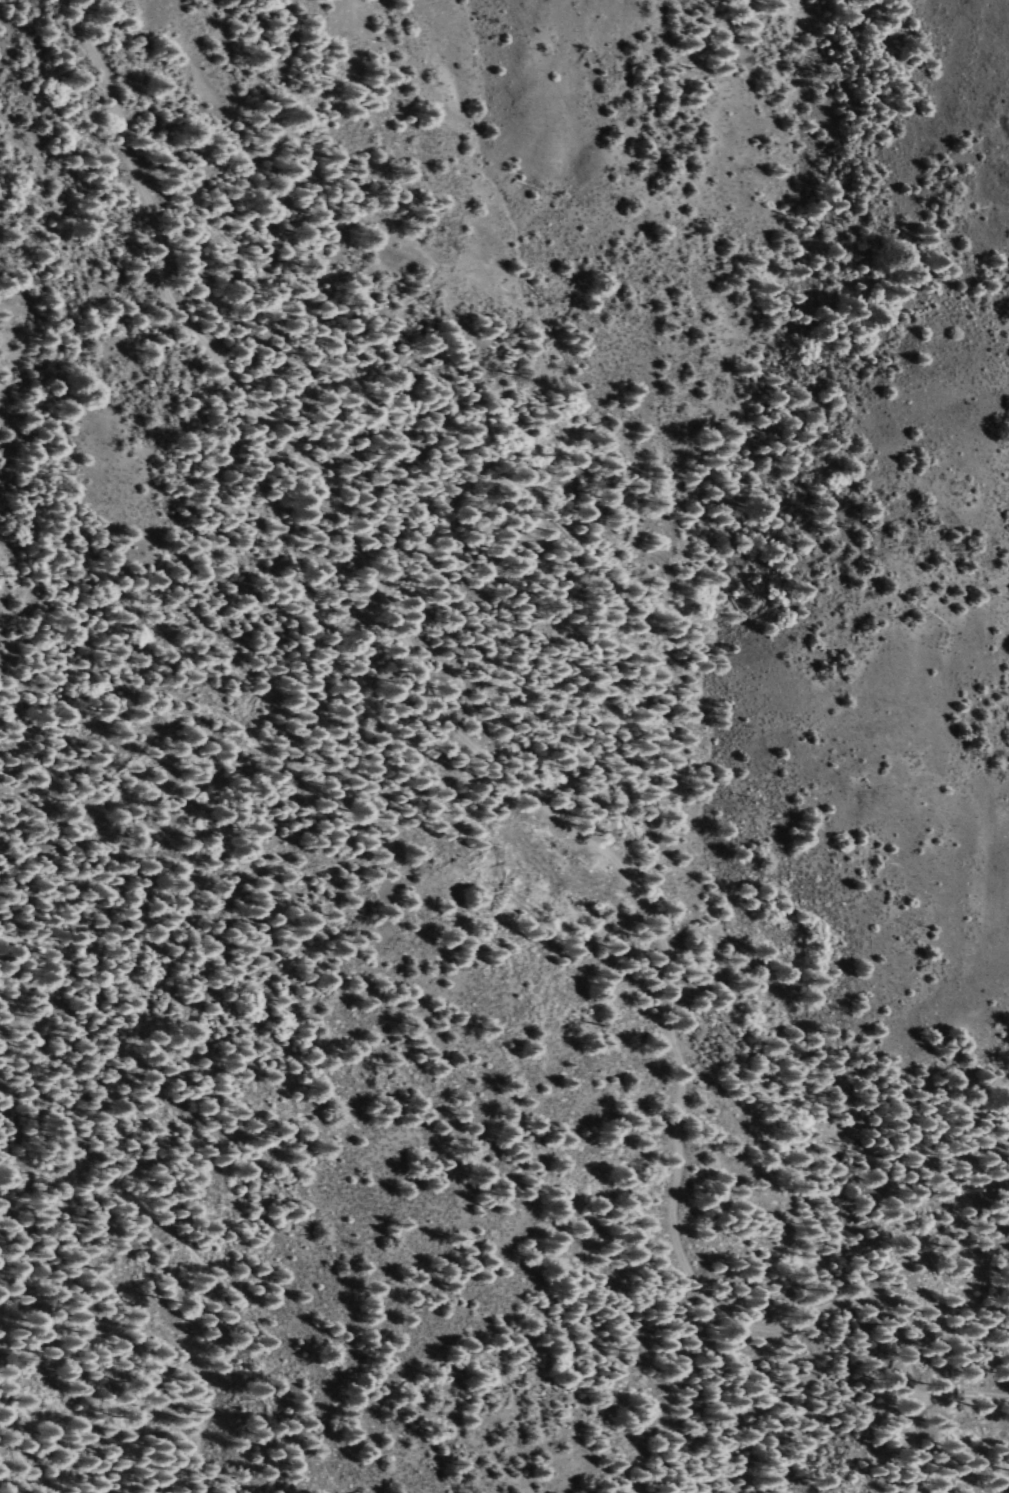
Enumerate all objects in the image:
road: (921, 1405)

